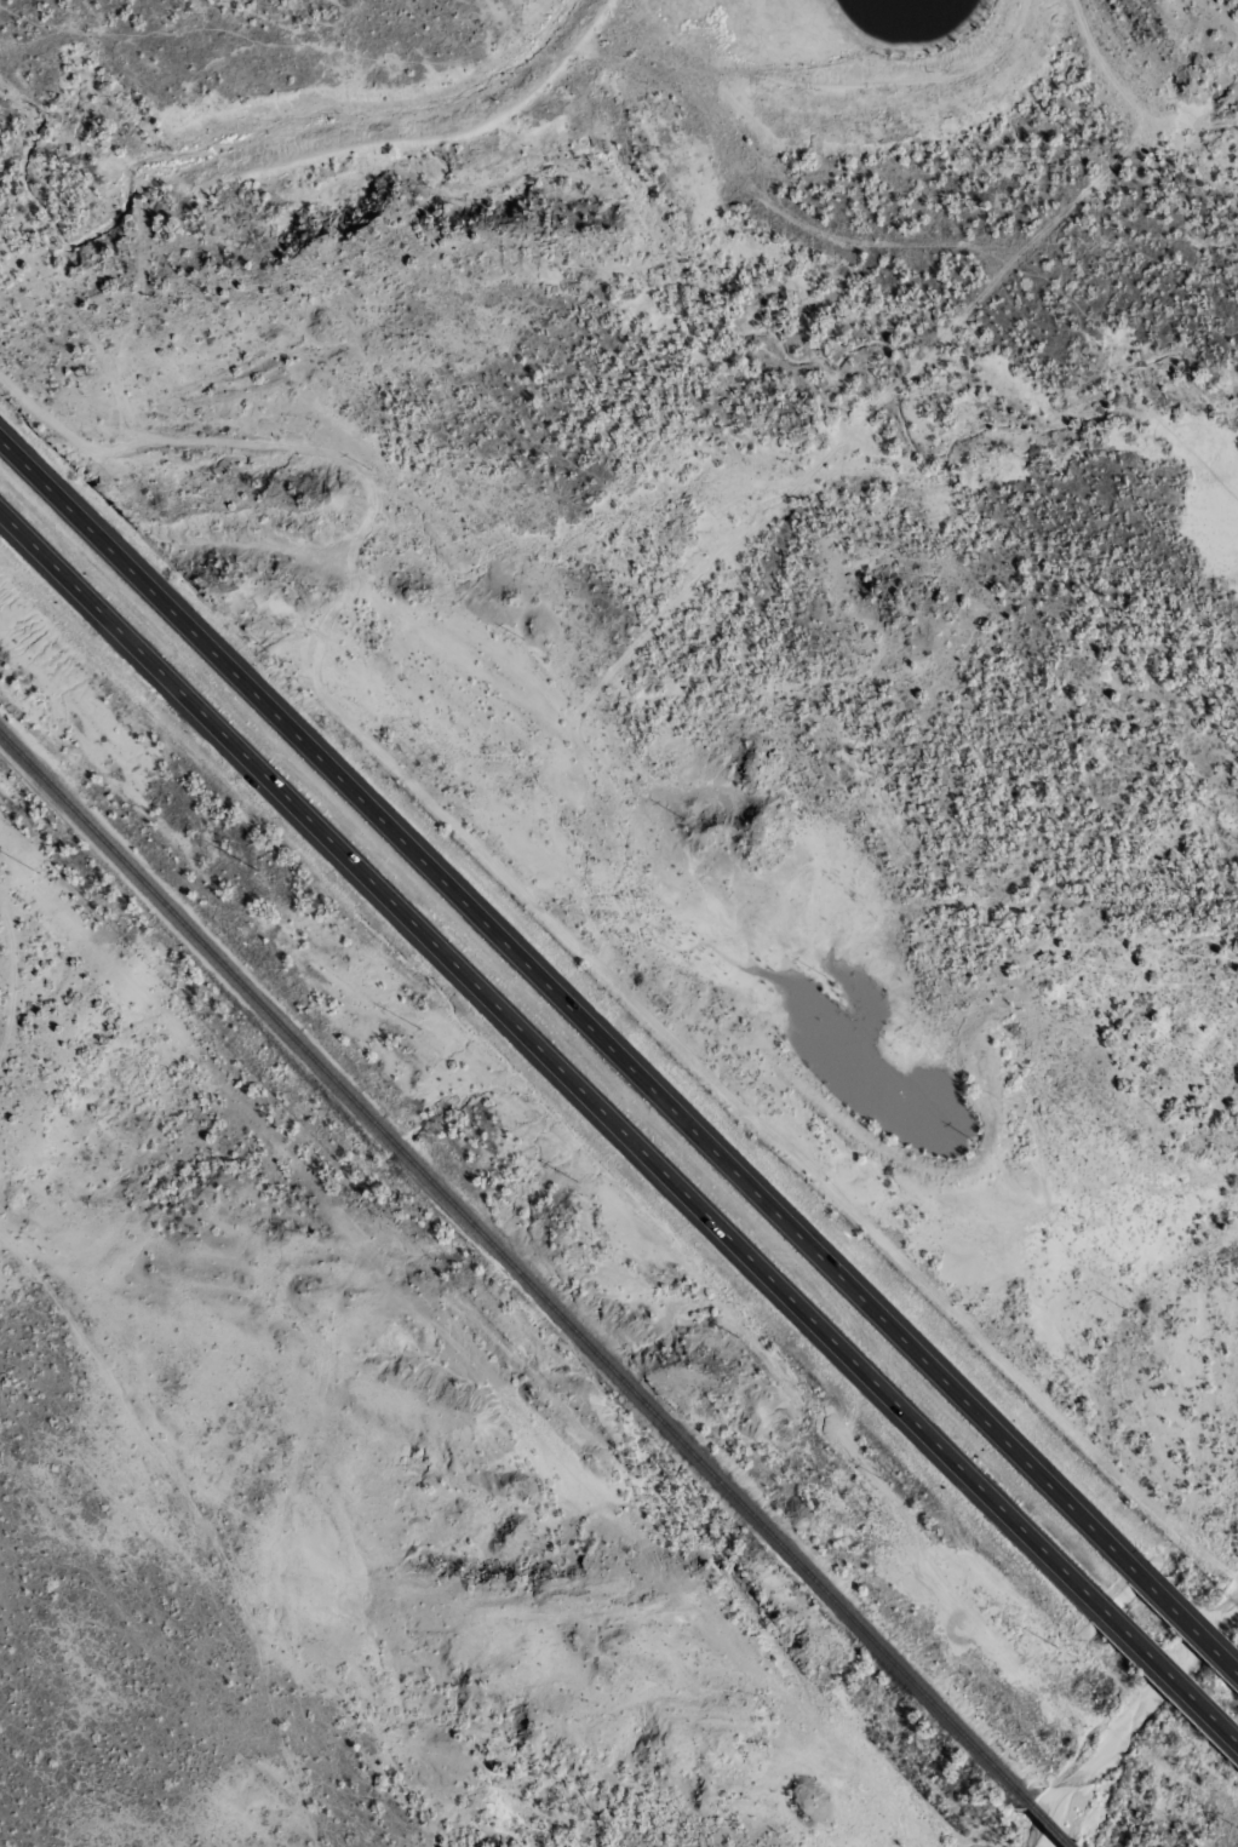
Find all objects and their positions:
road: (568, 1003)
road: (551, 1049)
railway: (510, 1269)
road: (1187, 1621)
road: (1169, 1673)
railway: (1043, 1824)

